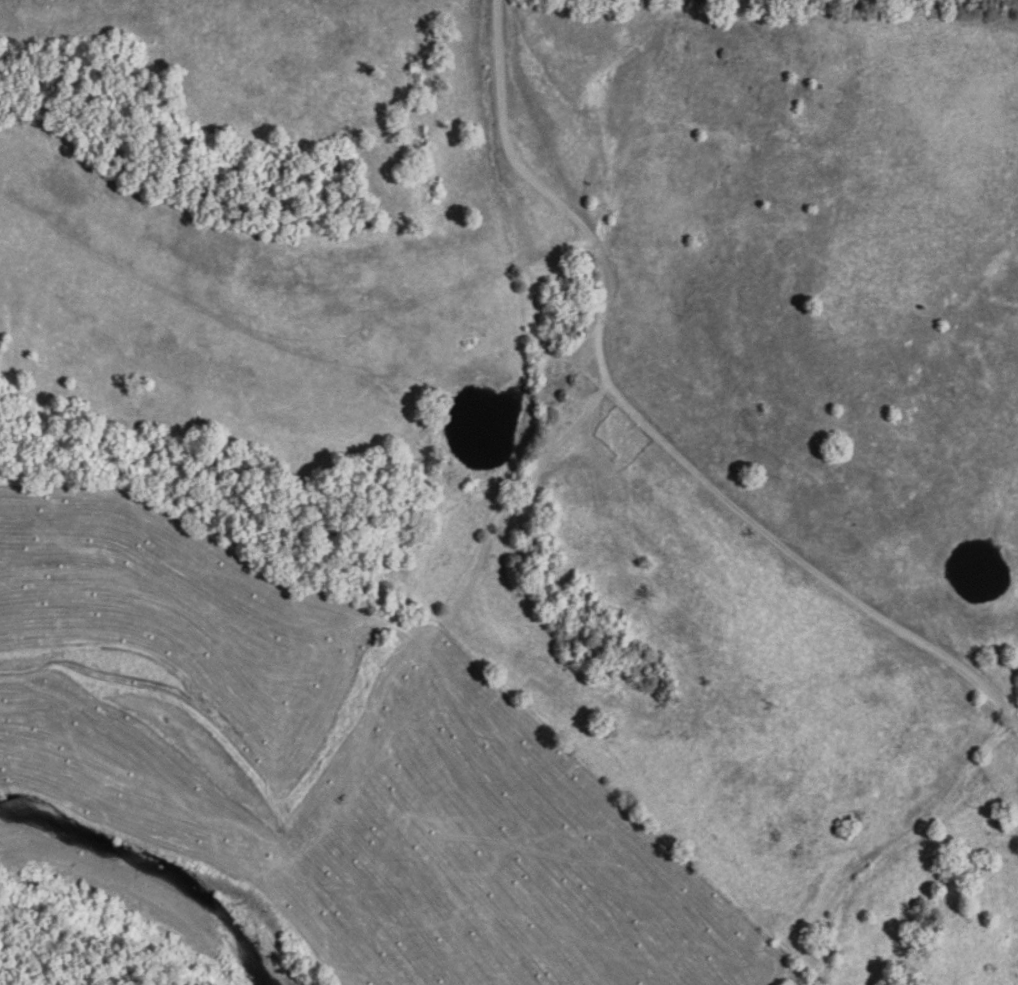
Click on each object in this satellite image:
road: (651, 433)

